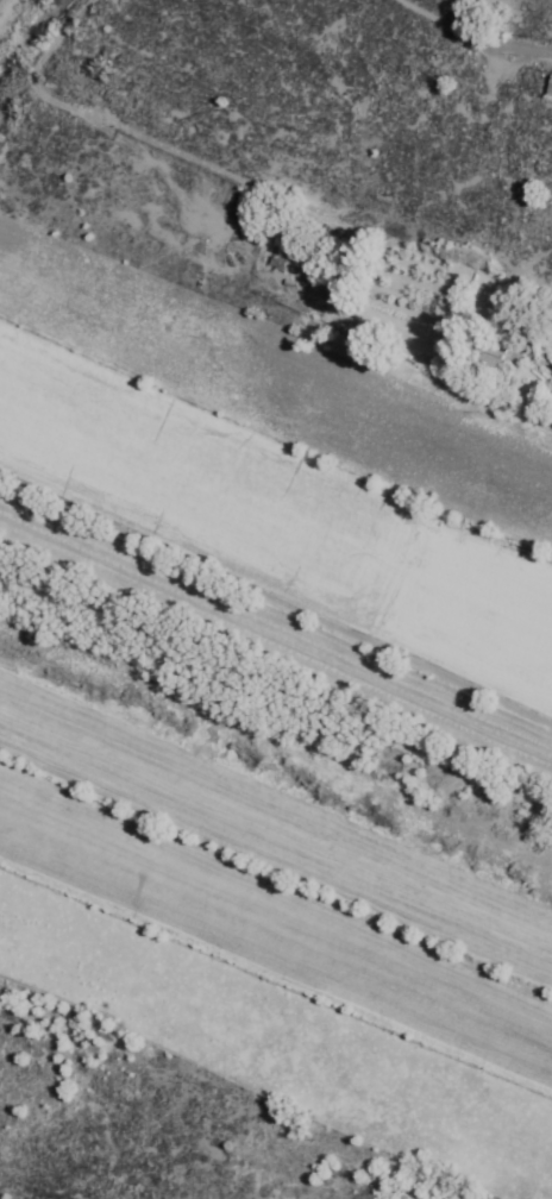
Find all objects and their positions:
road: (473, 34)
building: (550, 88)
road: (94, 120)
building: (249, 200)
building: (282, 252)
building: (493, 358)

